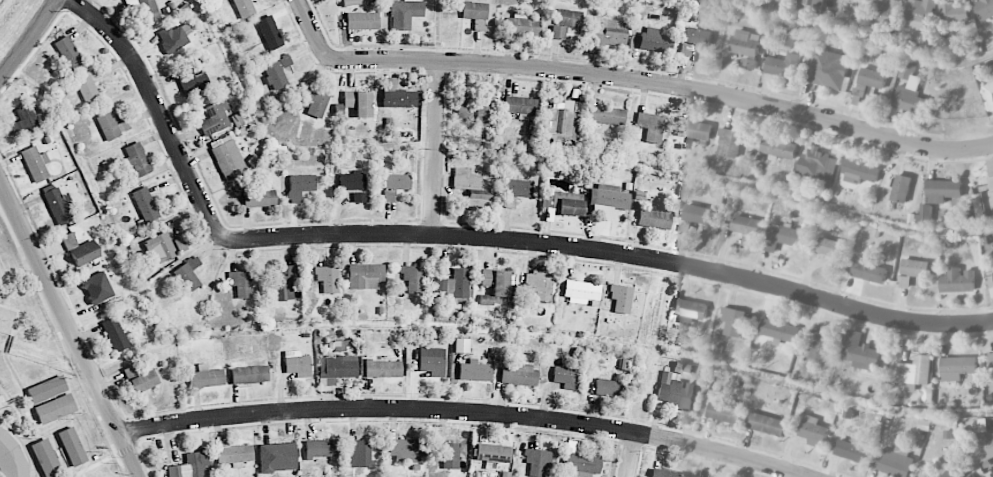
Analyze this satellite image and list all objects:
building: (868, 0)
building: (350, 2)
building: (812, 2)
building: (145, 8)
building: (243, 8)
building: (984, 9)
building: (474, 10)
building: (887, 12)
building: (404, 13)
building: (921, 14)
building: (955, 15)
building: (362, 20)
building: (565, 22)
building: (478, 24)
building: (521, 24)
building: (609, 31)
building: (269, 32)
building: (698, 36)
building: (172, 38)
road: (29, 40)
building: (654, 40)
building: (746, 47)
building: (686, 49)
building: (68, 52)
building: (783, 65)
building: (827, 68)
building: (276, 72)
building: (872, 78)
road: (632, 79)
building: (192, 81)
building: (87, 89)
building: (909, 91)
building: (989, 93)
building: (397, 95)
building: (313, 100)
building: (357, 102)
building: (521, 106)
building: (478, 110)
building: (607, 115)
building: (11, 118)
building: (215, 118)
building: (24, 120)
building: (108, 126)
building: (650, 126)
building: (694, 129)
building: (729, 143)
building: (778, 149)
road: (435, 150)
building: (227, 158)
building: (137, 159)
building: (35, 163)
building: (820, 164)
building: (860, 172)
building: (352, 181)
building: (397, 181)
building: (473, 184)
building: (300, 186)
building: (901, 188)
building: (943, 190)
building: (516, 191)
building: (388, 195)
building: (360, 197)
building: (985, 197)
building: (258, 198)
building: (146, 201)
building: (608, 201)
building: (564, 204)
building: (58, 206)
building: (697, 214)
building: (926, 215)
building: (653, 217)
building: (746, 225)
building: (782, 236)
road: (468, 239)
building: (749, 241)
building: (162, 244)
building: (831, 247)
building: (84, 253)
building: (915, 268)
building: (869, 271)
building: (188, 274)
building: (364, 276)
building: (327, 278)
building: (412, 278)
building: (958, 280)
building: (496, 282)
building: (240, 283)
building: (283, 284)
building: (452, 285)
building: (539, 285)
building: (96, 287)
building: (580, 291)
building: (621, 298)
building: (690, 308)
building: (736, 321)
road: (69, 328)
building: (779, 330)
building: (114, 334)
building: (341, 345)
building: (461, 345)
building: (819, 345)
building: (860, 353)
building: (432, 361)
building: (990, 362)
building: (297, 363)
building: (957, 367)
building: (337, 368)
building: (383, 368)
building: (474, 371)
building: (914, 372)
building: (249, 374)
building: (519, 375)
building: (565, 376)
building: (204, 377)
building: (139, 378)
building: (609, 388)
building: (46, 389)
building: (675, 392)
building: (55, 408)
road: (463, 411)
building: (724, 413)
building: (767, 424)
building: (813, 431)
building: (71, 446)
building: (322, 448)
building: (982, 449)
building: (406, 451)
building: (852, 451)
building: (233, 453)
building: (359, 453)
building: (492, 453)
building: (448, 454)
road: (630, 455)
building: (11, 457)
building: (45, 457)
building: (276, 457)
building: (537, 461)
building: (893, 461)
building: (581, 464)
building: (191, 465)
building: (953, 470)
building: (664, 473)

